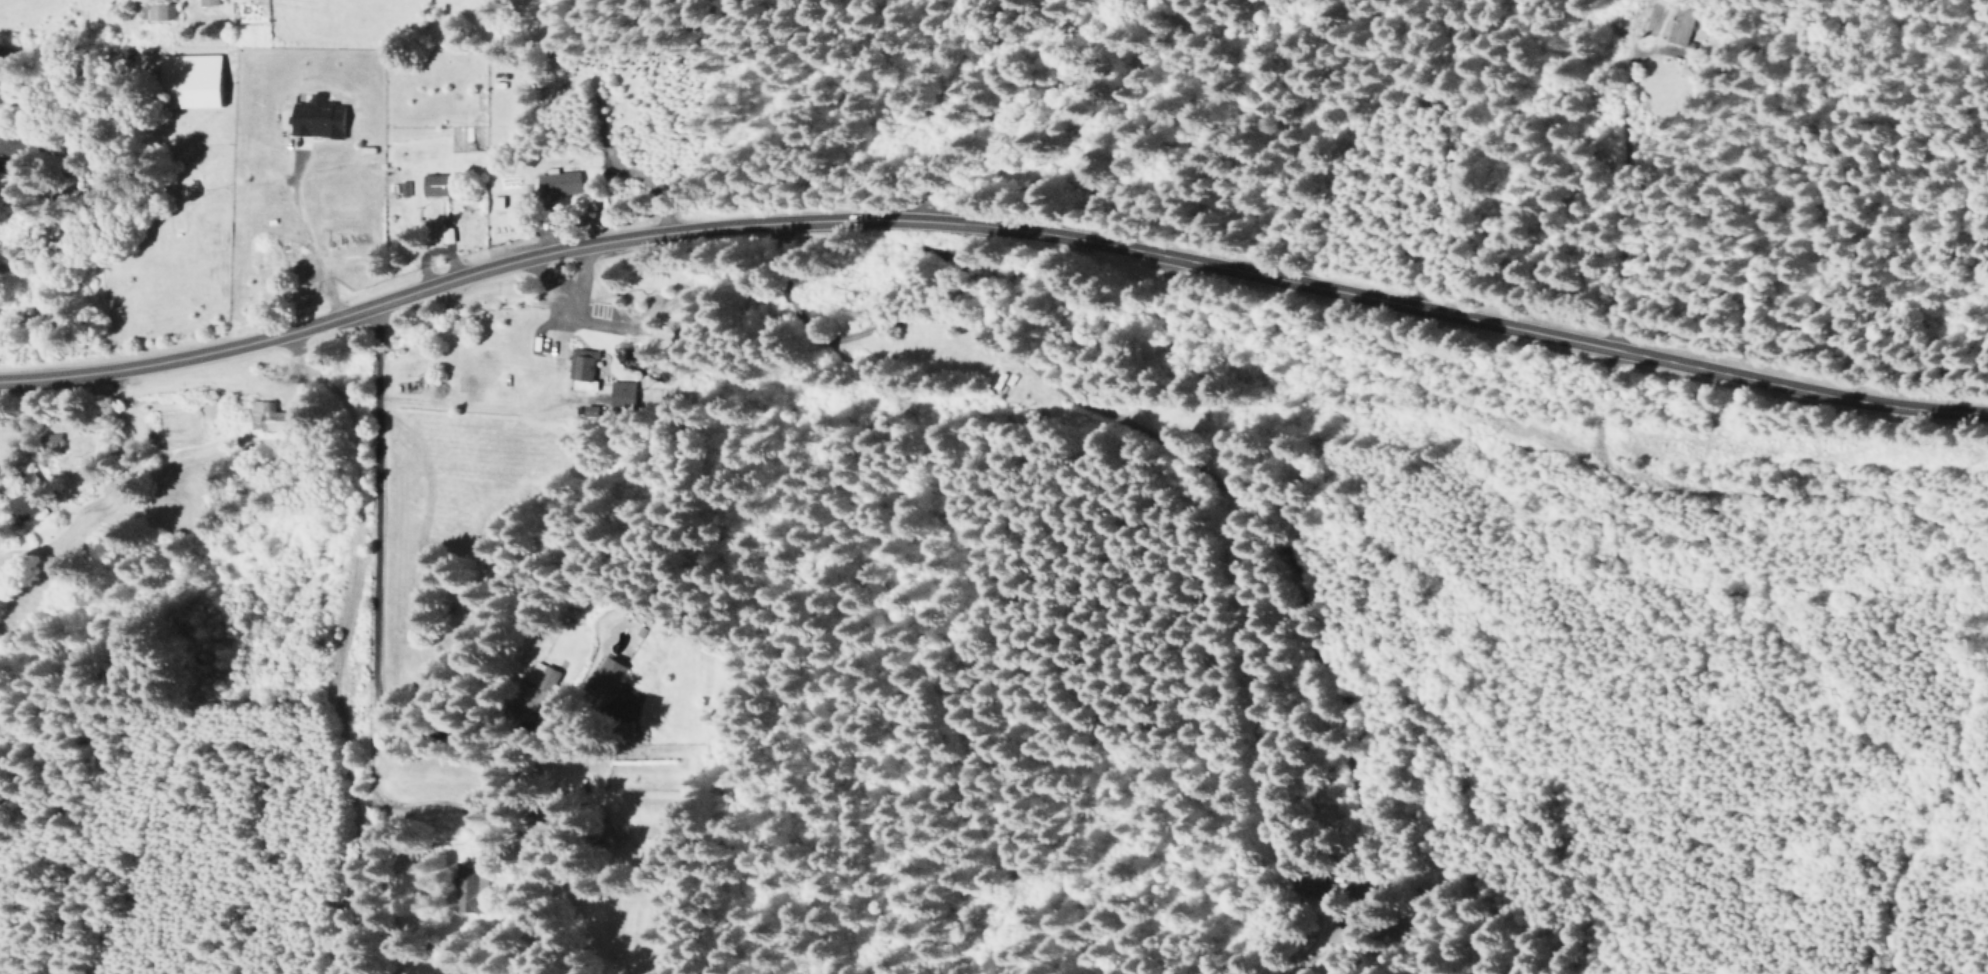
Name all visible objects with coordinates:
building: (210, 2)
building: (159, 11)
building: (1677, 25)
road: (976, 82)
road: (4, 91)
building: (315, 117)
building: (22, 144)
building: (434, 184)
building: (403, 188)
road: (993, 227)
building: (580, 369)
building: (620, 394)
building: (265, 416)
road: (360, 433)
road: (1494, 446)
road: (1166, 456)
building: (21, 504)
road: (1933, 526)
road: (398, 638)
building: (604, 675)
building: (539, 676)
building: (468, 892)

